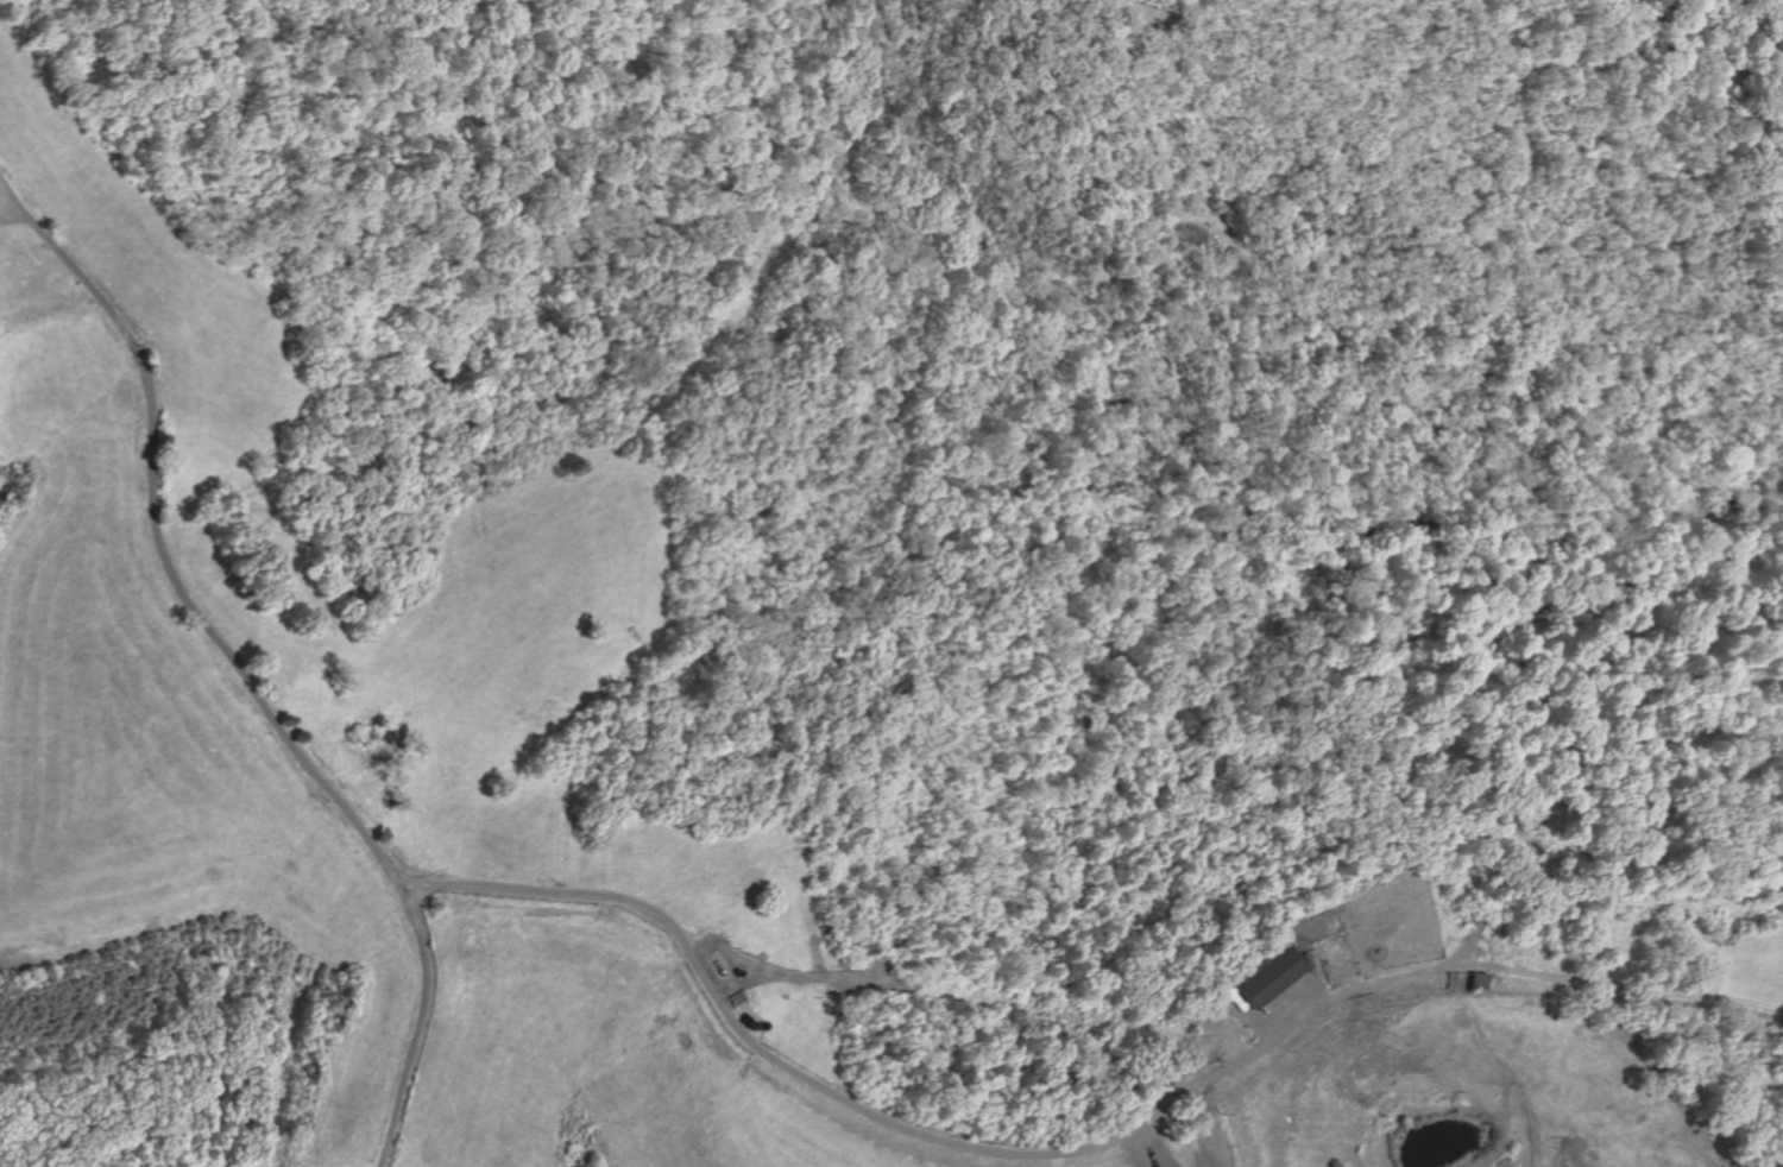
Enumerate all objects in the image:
road: (7, 209)
road: (238, 671)
building: (716, 963)
road: (1551, 977)
building: (1267, 978)
building: (1476, 983)
road: (1303, 1010)
road: (846, 1102)
road: (1141, 1147)

